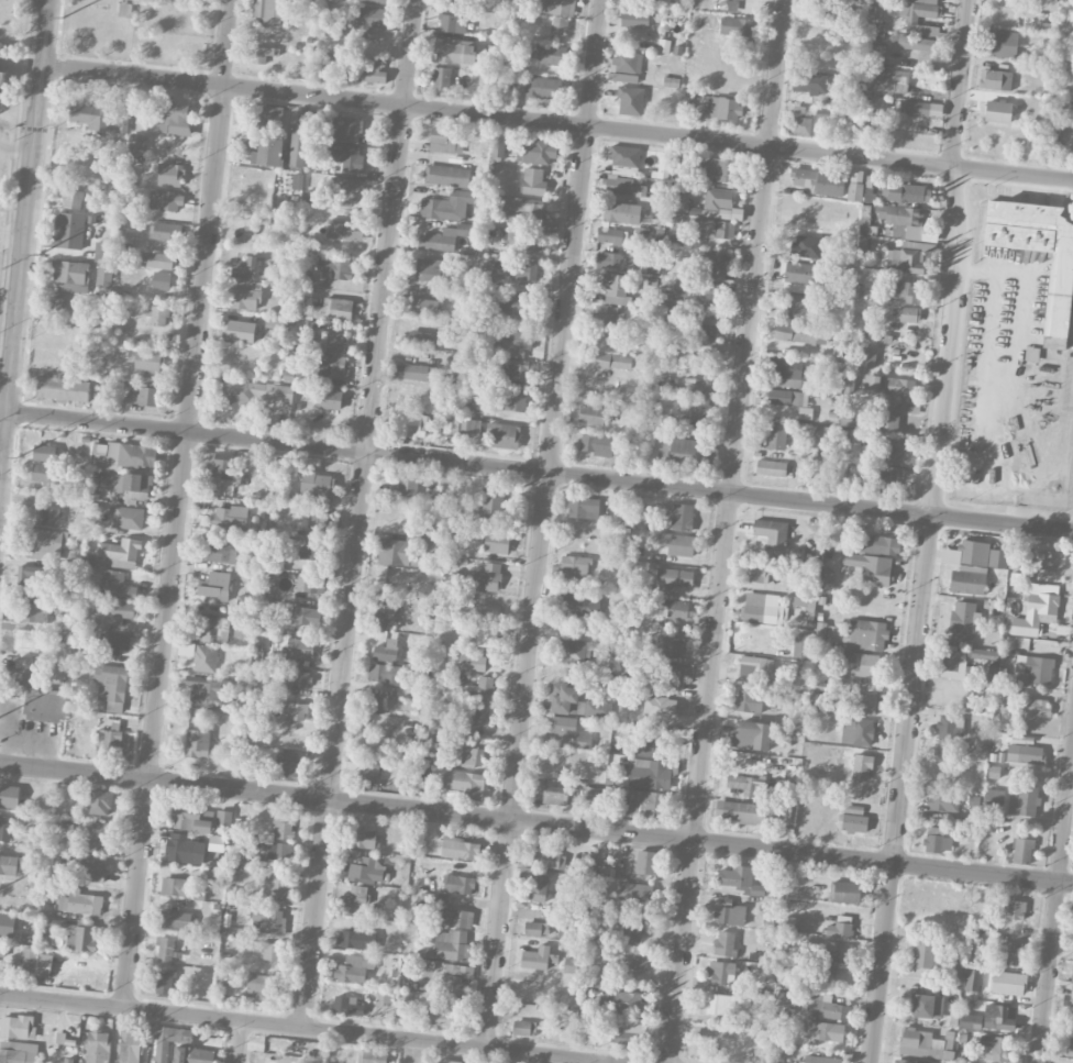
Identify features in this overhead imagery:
building: (375, 1)
building: (926, 1)
building: (460, 3)
building: (557, 7)
building: (125, 9)
building: (268, 11)
power tower: (63, 13)
building: (818, 16)
building: (372, 18)
building: (634, 19)
building: (911, 21)
building: (453, 23)
building: (734, 25)
building: (334, 26)
building: (558, 26)
building: (917, 43)
building: (1002, 44)
building: (454, 52)
building: (261, 53)
building: (881, 53)
building: (552, 54)
building: (627, 62)
building: (365, 70)
building: (622, 77)
building: (441, 78)
building: (995, 79)
building: (889, 81)
building: (809, 82)
building: (543, 88)
building: (630, 100)
building: (122, 107)
building: (726, 108)
building: (920, 108)
building: (997, 111)
building: (91, 114)
building: (172, 115)
building: (269, 119)
road: (556, 122)
building: (806, 125)
building: (349, 129)
building: (443, 140)
building: (136, 142)
building: (298, 145)
building: (498, 145)
road: (0, 147)
road: (15, 147)
building: (266, 151)
building: (532, 151)
building: (552, 153)
building: (344, 156)
building: (623, 159)
building: (718, 169)
building: (170, 175)
building: (446, 176)
building: (533, 180)
building: (819, 181)
building: (623, 185)
building: (345, 190)
building: (854, 191)
building: (906, 193)
building: (718, 198)
building: (73, 199)
building: (166, 200)
building: (679, 201)
building: (450, 206)
building: (524, 212)
building: (620, 212)
building: (903, 220)
building: (864, 221)
building: (677, 225)
building: (712, 228)
building: (344, 229)
building: (67, 231)
road: (23, 232)
building: (166, 232)
road: (11, 234)
building: (611, 235)
building: (126, 236)
building: (444, 237)
building: (527, 241)
building: (1038, 250)
building: (103, 252)
power tower: (37, 255)
building: (906, 257)
building: (608, 259)
building: (158, 261)
building: (714, 264)
building: (244, 268)
building: (336, 268)
building: (433, 269)
building: (524, 270)
building: (801, 273)
building: (70, 275)
building: (103, 276)
building: (162, 280)
building: (616, 288)
building: (908, 290)
building: (700, 292)
building: (244, 295)
building: (521, 303)
building: (55, 306)
building: (424, 306)
building: (793, 307)
building: (158, 314)
building: (909, 314)
building: (607, 317)
building: (272, 321)
building: (708, 324)
building: (236, 329)
building: (795, 333)
building: (821, 335)
building: (419, 339)
building: (333, 342)
building: (516, 342)
building: (707, 346)
building: (838, 348)
building: (866, 357)
building: (610, 361)
building: (148, 363)
building: (331, 365)
building: (416, 370)
building: (513, 372)
building: (787, 373)
building: (889, 385)
building: (697, 386)
building: (63, 388)
building: (256, 395)
building: (147, 396)
building: (785, 397)
building: (329, 399)
building: (516, 401)
building: (694, 408)
building: (591, 414)
building: (888, 416)
building: (849, 419)
building: (410, 424)
building: (471, 425)
building: (450, 427)
building: (504, 435)
building: (775, 435)
building: (597, 443)
road: (1, 444)
building: (895, 450)
building: (44, 453)
building: (688, 453)
power tower: (16, 454)
building: (122, 455)
building: (221, 462)
building: (771, 467)
road: (539, 470)
building: (48, 476)
building: (888, 476)
building: (852, 477)
building: (317, 483)
building: (408, 484)
building: (133, 487)
road: (177, 503)
building: (491, 503)
building: (583, 507)
road: (359, 512)
building: (43, 516)
building: (128, 517)
building: (682, 517)
building: (229, 518)
building: (319, 520)
road: (543, 523)
road: (726, 531)
road: (929, 531)
building: (771, 533)
building: (44, 541)
building: (496, 542)
building: (676, 543)
building: (880, 544)
building: (430, 545)
building: (222, 552)
building: (311, 552)
building: (394, 552)
building: (973, 552)
building: (120, 553)
building: (997, 557)
building: (1051, 560)
building: (575, 565)
building: (871, 567)
building: (760, 571)
building: (33, 575)
building: (675, 577)
building: (487, 578)
building: (967, 580)
building: (310, 583)
building: (115, 585)
building: (215, 586)
building: (804, 602)
building: (763, 608)
building: (677, 609)
building: (1037, 609)
building: (34, 612)
building: (114, 616)
building: (306, 616)
building: (385, 616)
building: (964, 621)
building: (212, 628)
building: (837, 634)
building: (869, 634)
building: (114, 643)
building: (670, 645)
building: (300, 647)
building: (573, 650)
building: (386, 651)
building: (985, 652)
building: (204, 658)
building: (951, 660)
building: (473, 663)
building: (755, 666)
building: (866, 666)
building: (1036, 667)
building: (25, 671)
building: (384, 674)
building: (671, 674)
building: (292, 678)
building: (483, 685)
building: (111, 686)
building: (208, 690)
building: (749, 701)
building: (575, 702)
building: (664, 704)
building: (865, 704)
building: (44, 705)
building: (375, 705)
building: (1036, 708)
building: (292, 710)
building: (480, 717)
building: (561, 724)
building: (948, 727)
building: (858, 730)
building: (751, 735)
building: (109, 740)
building: (582, 741)
building: (197, 743)
building: (661, 748)
building: (1024, 754)
building: (472, 755)
building: (288, 766)
building: (862, 766)
building: (648, 773)
building: (368, 777)
building: (465, 783)
building: (745, 785)
building: (591, 794)
building: (554, 795)
building: (9, 796)
building: (995, 800)
building: (1022, 800)
building: (100, 801)
building: (943, 801)
building: (646, 802)
building: (853, 809)
building: (184, 816)
building: (224, 818)
road: (536, 821)
building: (854, 823)
building: (281, 824)
building: (202, 826)
building: (8, 827)
building: (96, 833)
building: (363, 839)
building: (937, 840)
building: (180, 848)
building: (460, 849)
building: (1022, 850)
building: (280, 851)
building: (547, 856)
building: (645, 862)
building: (588, 863)
building: (11, 865)
building: (93, 868)
building: (365, 871)
building: (740, 879)
building: (458, 884)
building: (175, 886)
building: (538, 886)
building: (275, 890)
building: (635, 892)
building: (844, 892)
building: (355, 899)
road: (1055, 900)
building: (81, 903)
building: (1011, 909)
building: (729, 911)
building: (269, 917)
building: (460, 918)
building: (176, 920)
building: (7, 926)
building: (533, 929)
building: (839, 929)
building: (631, 931)
building: (82, 939)
building: (357, 940)
building: (724, 943)
building: (450, 945)
building: (165, 949)
building: (2, 951)
building: (269, 951)
building: (923, 953)
building: (1009, 953)
building: (535, 957)
building: (29, 959)
building: (640, 960)
building: (823, 961)
building: (571, 965)
building: (354, 968)
building: (958, 968)
building: (720, 972)
building: (454, 976)
building: (1072, 977)
building: (973, 978)
building: (164, 983)
building: (1008, 983)
building: (261, 984)
building: (405, 999)
building: (627, 1001)
building: (720, 1004)
building: (346, 1005)
building: (1068, 1005)
building: (825, 1006)
building: (928, 1006)
building: (443, 1015)
building: (997, 1018)
building: (970, 1021)
building: (18, 1027)
building: (522, 1027)
road: (319, 1028)
building: (823, 1030)
building: (631, 1032)
road: (236, 1041)
building: (920, 1043)
building: (130, 1045)
building: (1069, 1045)
building: (98, 1047)
building: (996, 1048)
road: (412, 1051)
building: (18, 1052)
building: (161, 1052)
building: (192, 1055)
building: (372, 1056)
road: (587, 1060)
building: (821, 1060)
building: (446, 1061)
building: (911, 1061)

